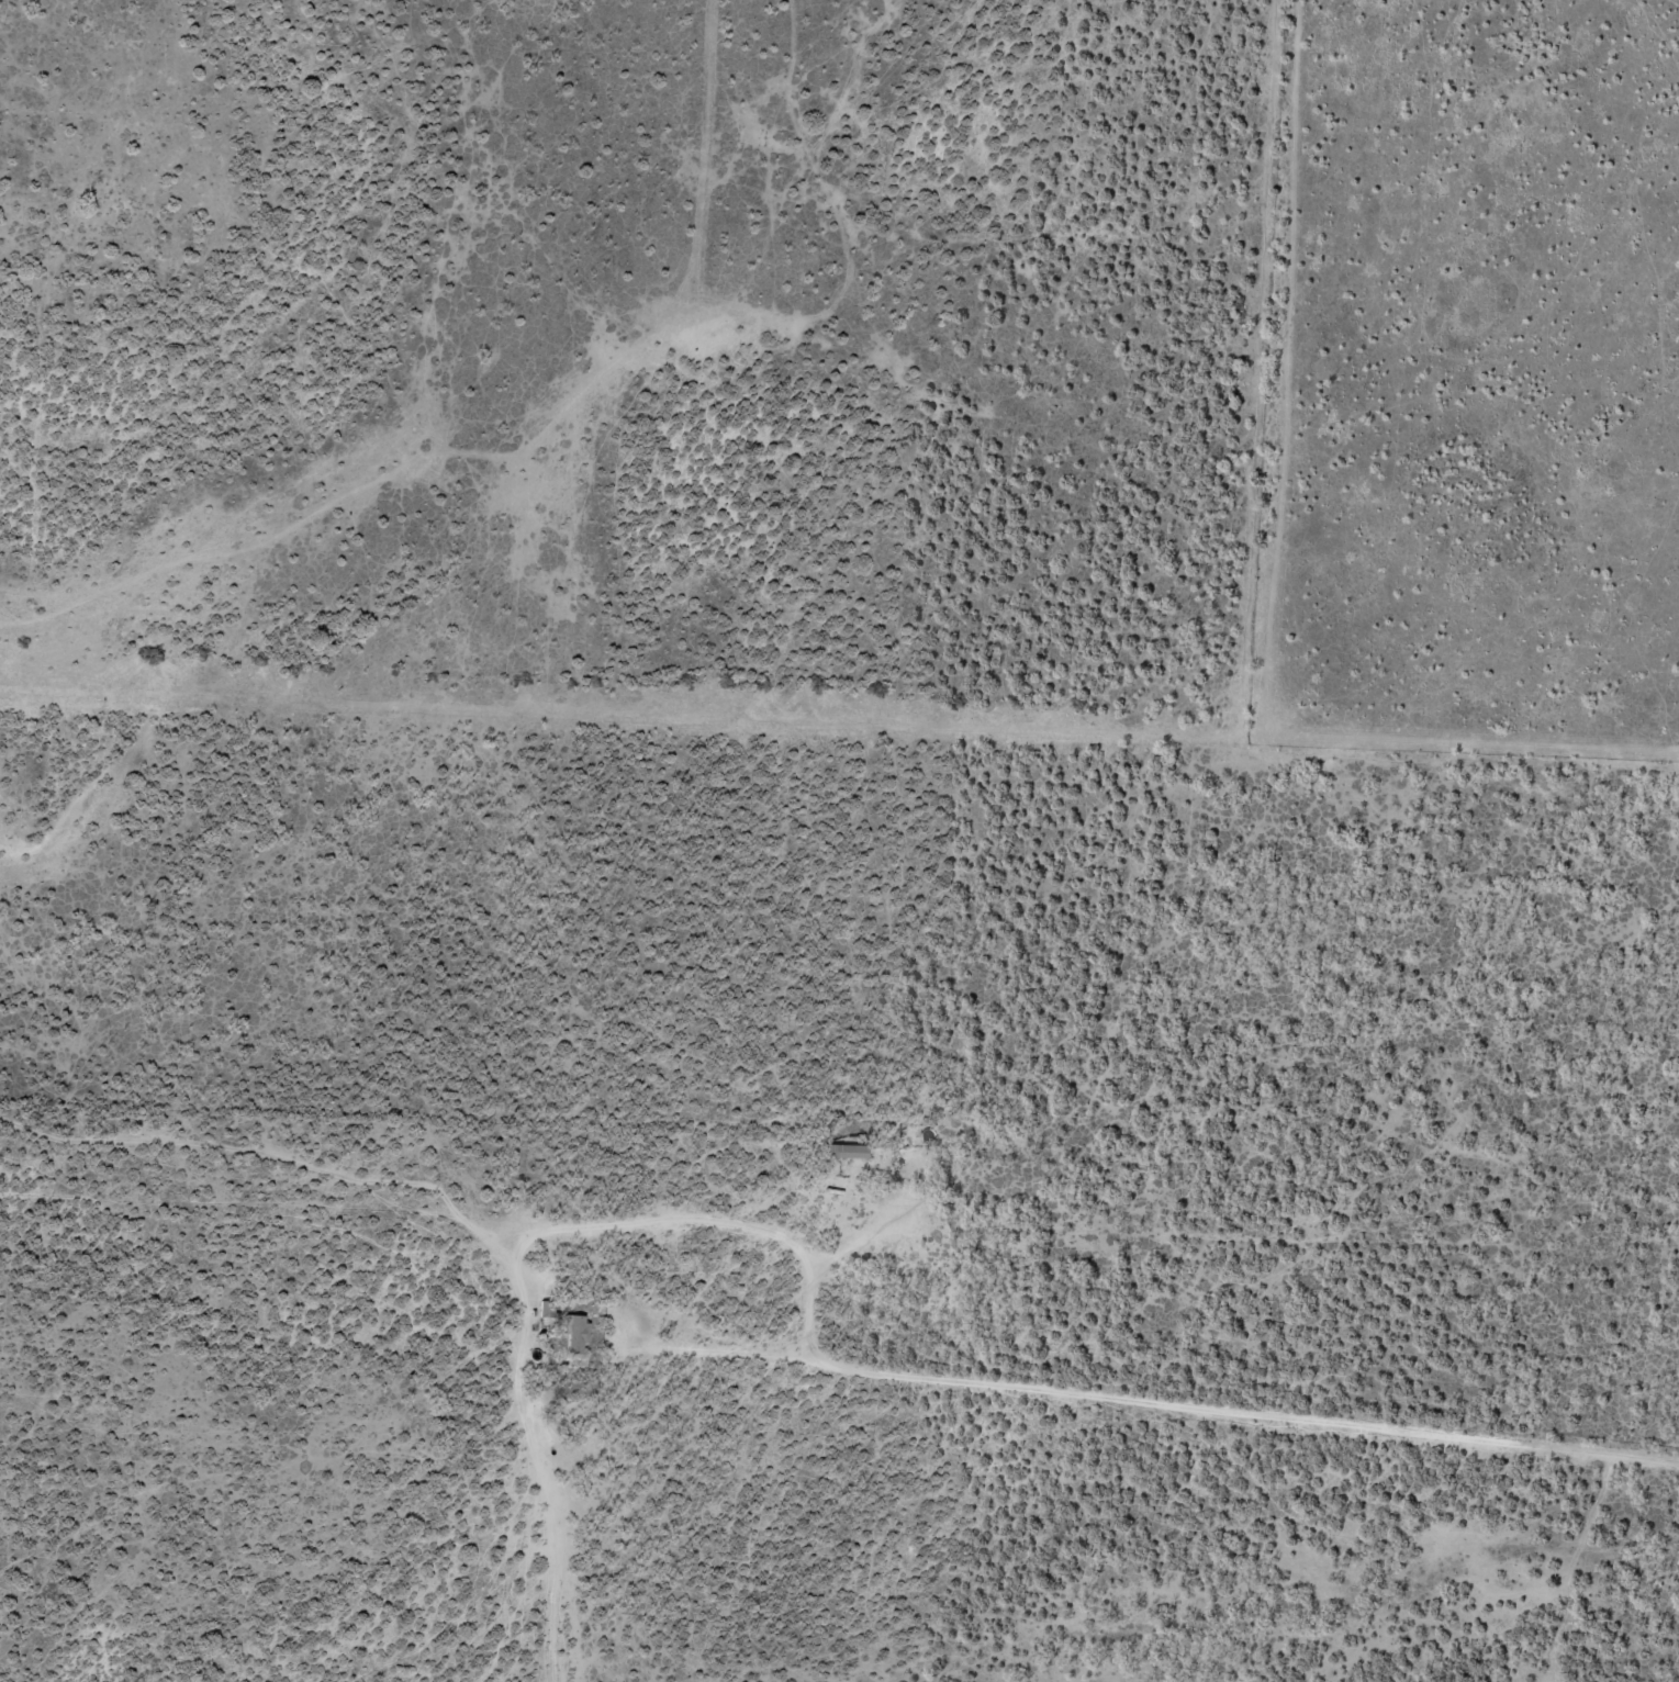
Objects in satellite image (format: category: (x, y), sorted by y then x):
road: (489, 1229)
building: (575, 1332)
road: (1097, 1443)

